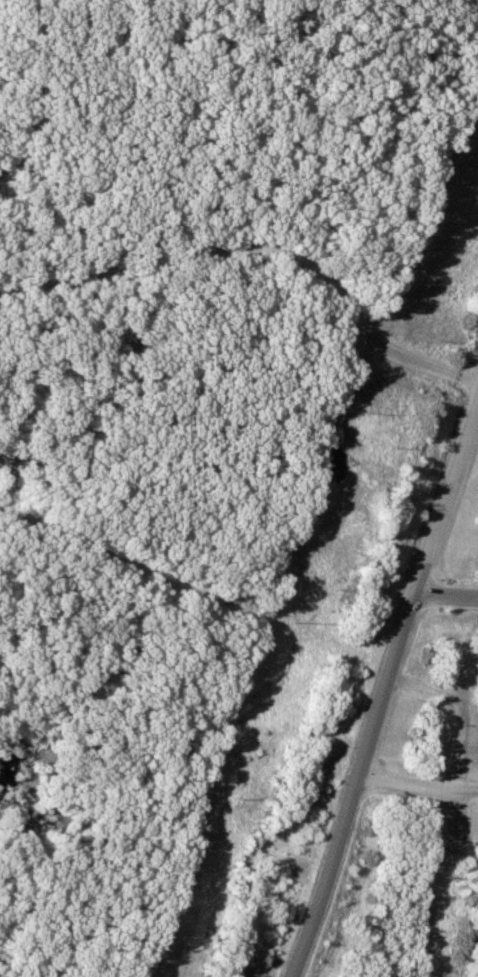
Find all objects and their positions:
road: (263, 240)
road: (448, 596)
park: (421, 675)
road: (385, 693)

